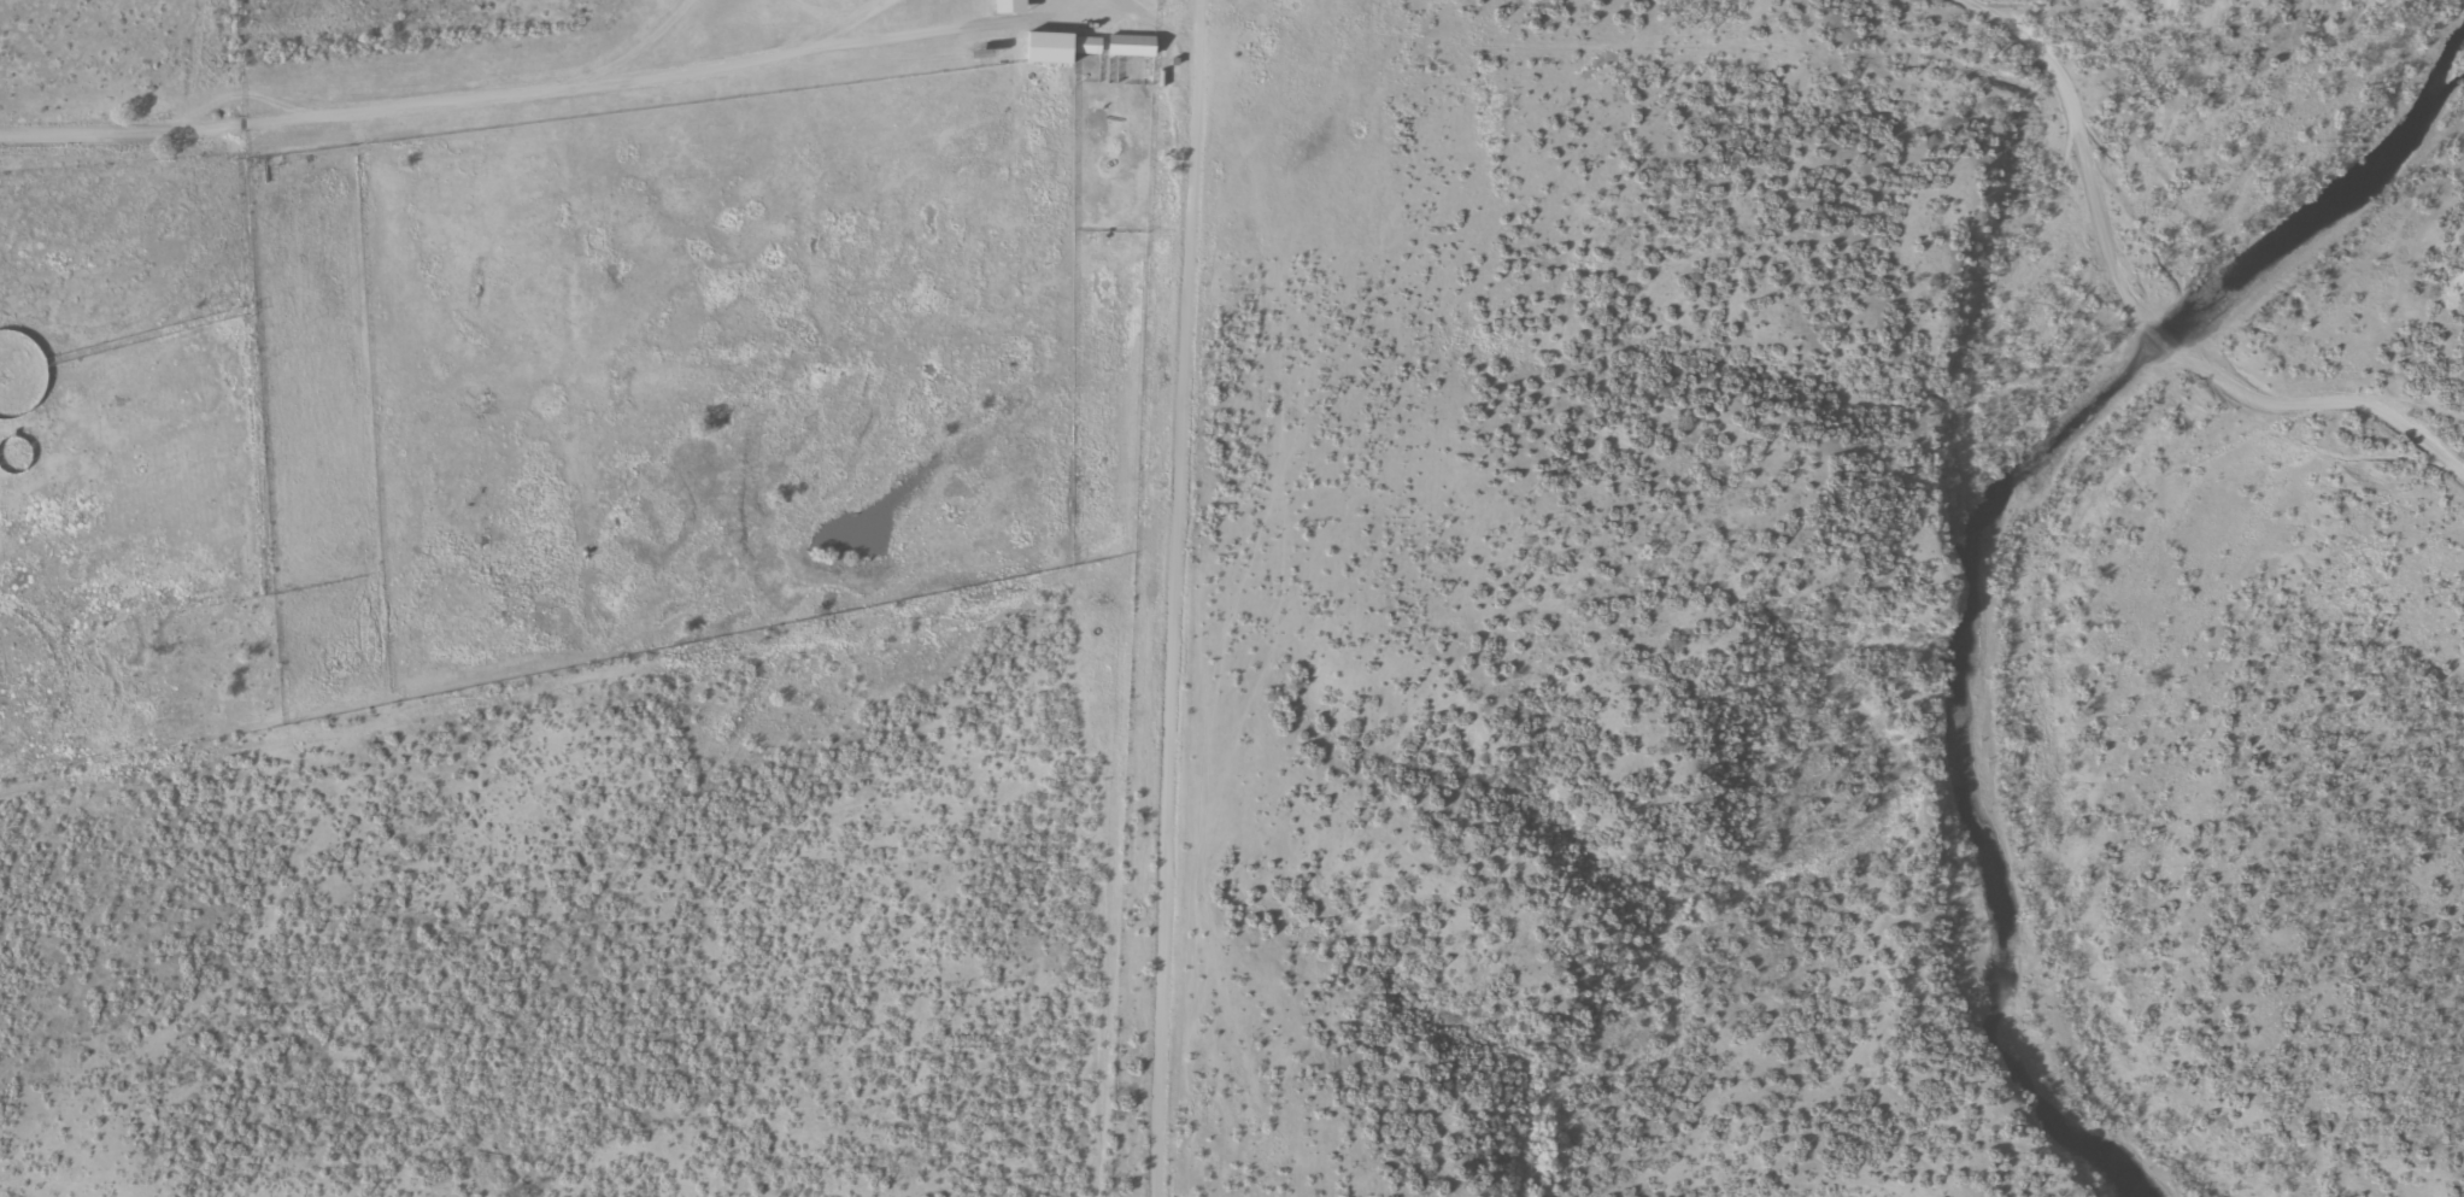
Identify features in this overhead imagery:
building: (1009, 6)
building: (1089, 46)
building: (1131, 46)
building: (1049, 47)
road: (638, 78)
road: (180, 115)
road: (2076, 145)
road: (2159, 346)
road: (2319, 397)
river: (1982, 535)
road: (1185, 593)

